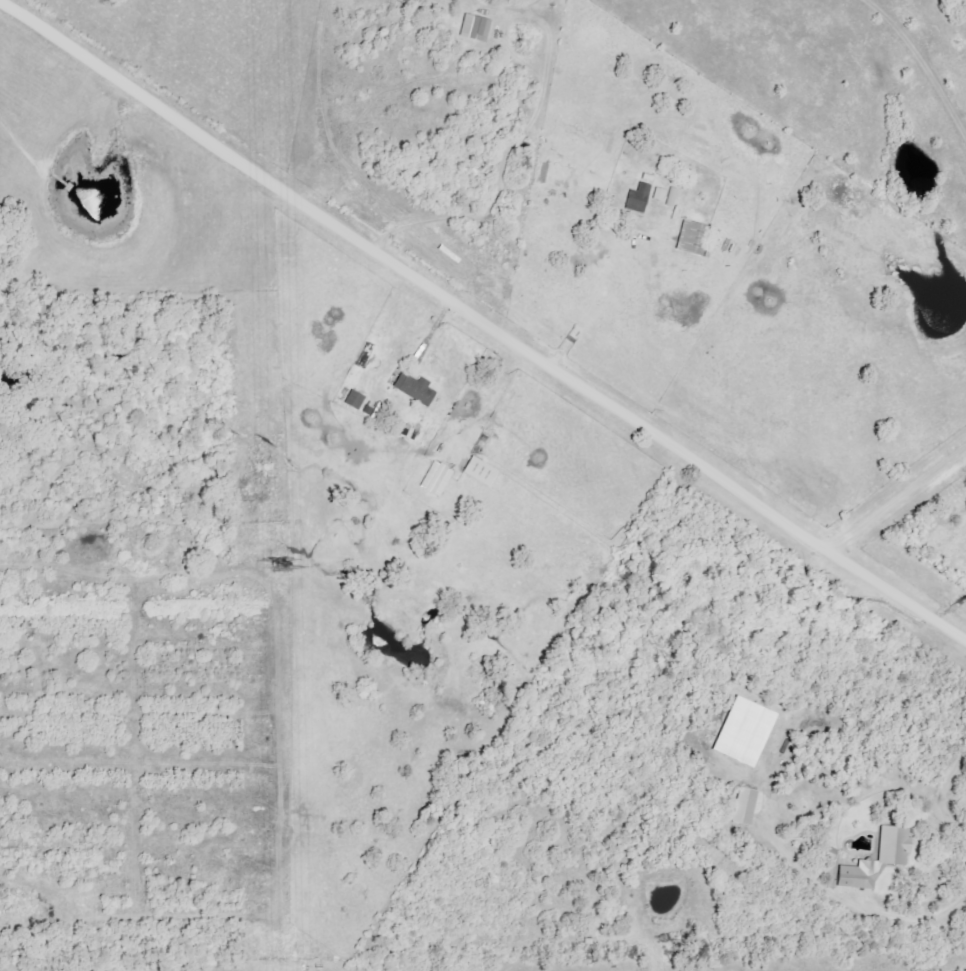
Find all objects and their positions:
building: (475, 28)
building: (660, 194)
building: (638, 198)
building: (692, 238)
road: (482, 324)
building: (414, 389)
building: (354, 400)
building: (480, 471)
building: (436, 479)
power tower: (283, 568)
building: (743, 731)
building: (743, 806)
building: (877, 860)

